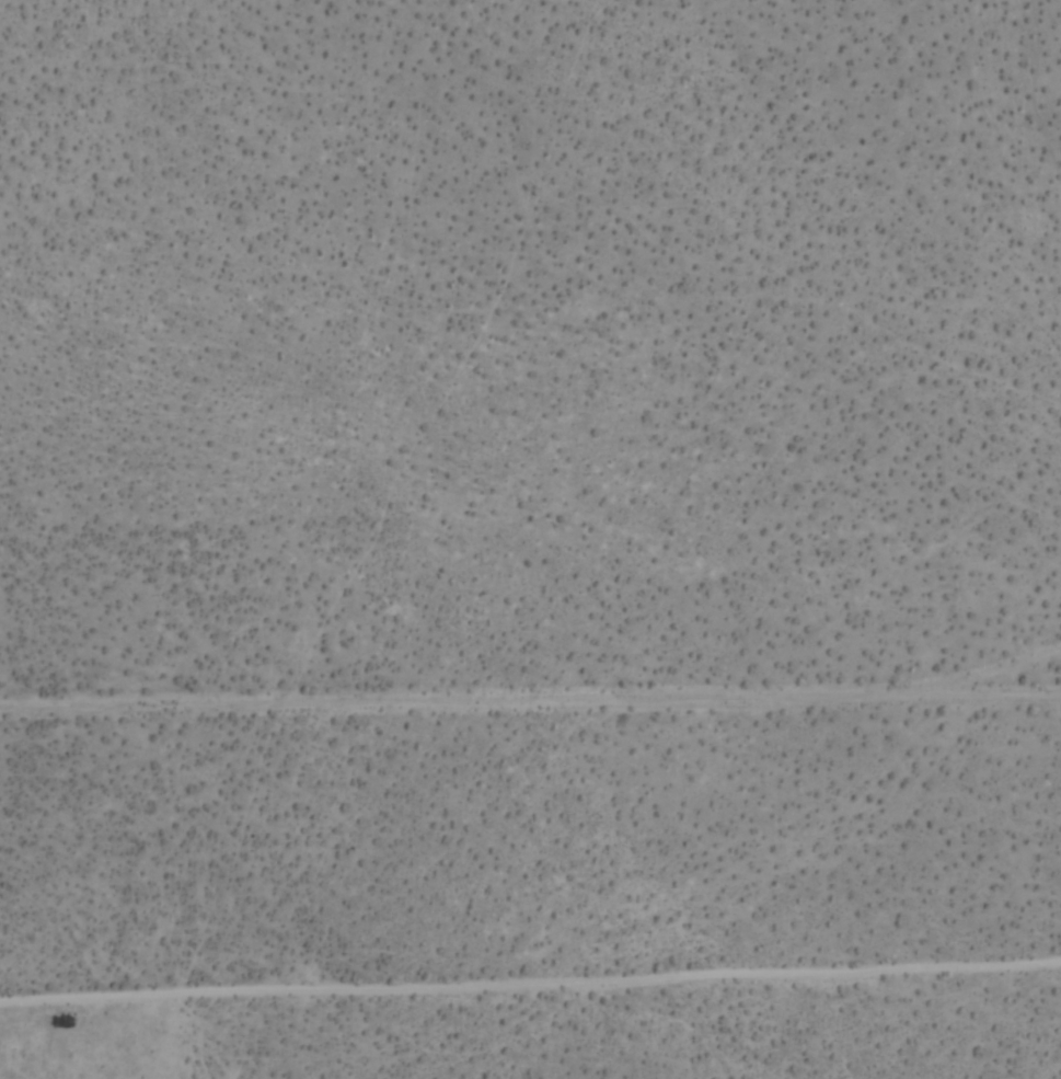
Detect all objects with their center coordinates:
road: (530, 982)

